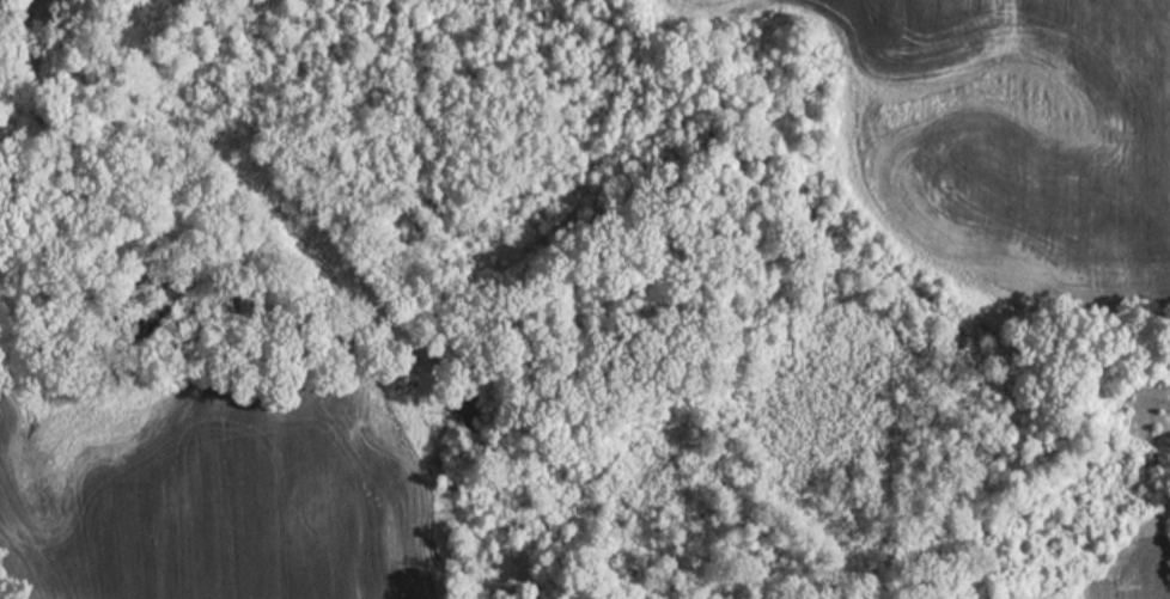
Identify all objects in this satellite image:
crop: (187, 495)

